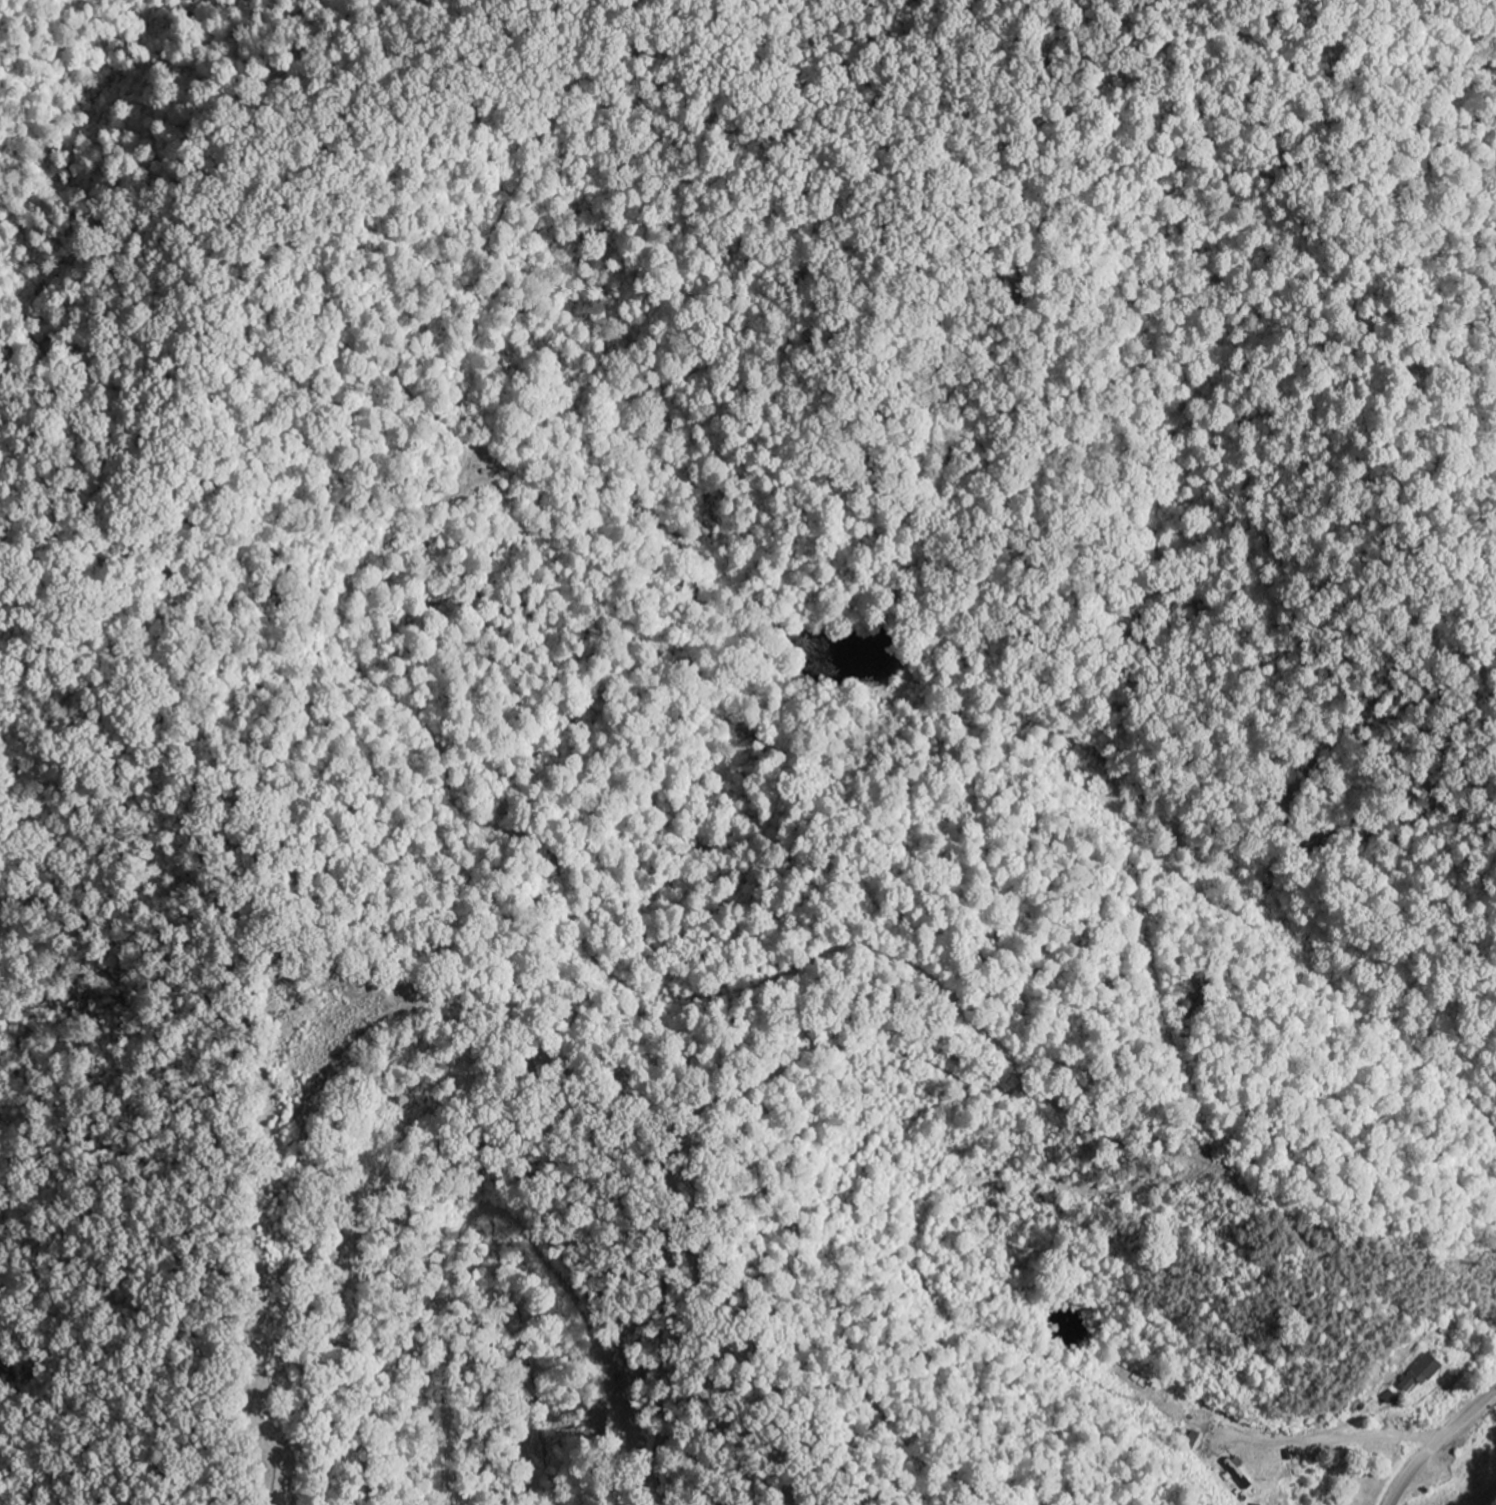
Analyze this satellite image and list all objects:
building: (1423, 1373)
road: (1358, 1437)
road: (1438, 1442)

